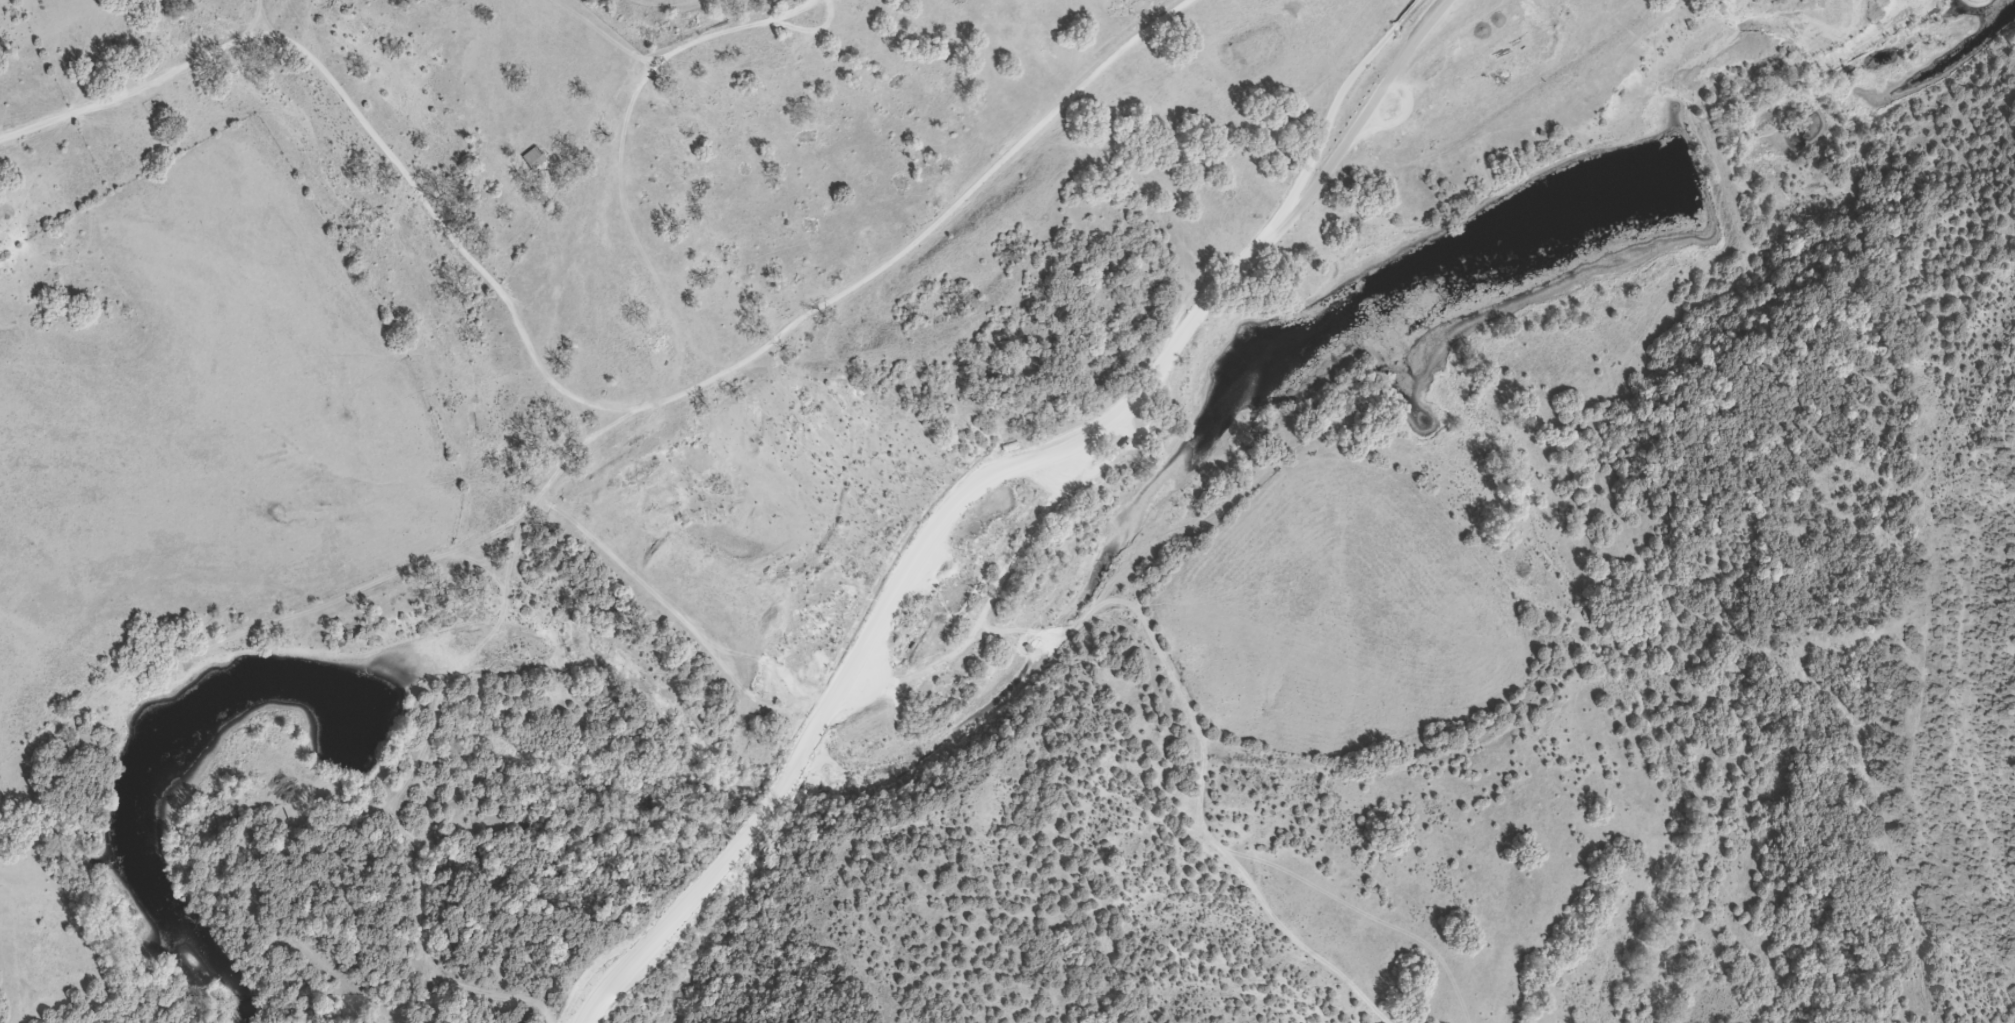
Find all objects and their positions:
road: (1368, 107)
park: (1281, 129)
building: (527, 158)
road: (979, 484)
road: (1168, 667)
road: (905, 680)

